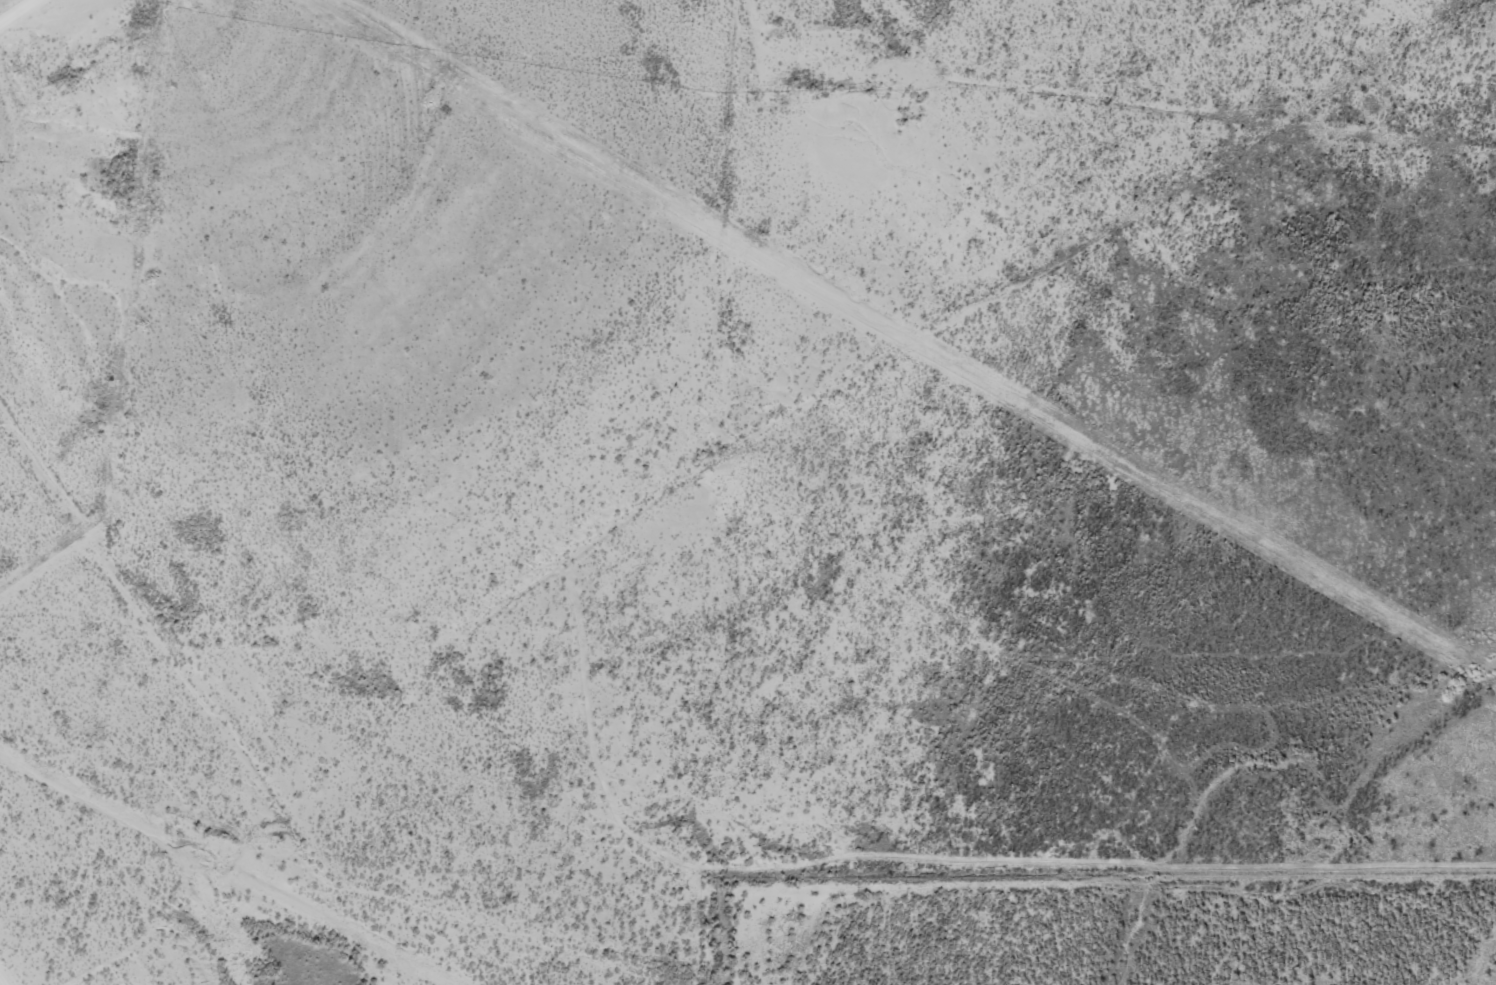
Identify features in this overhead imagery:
road: (13, 9)

